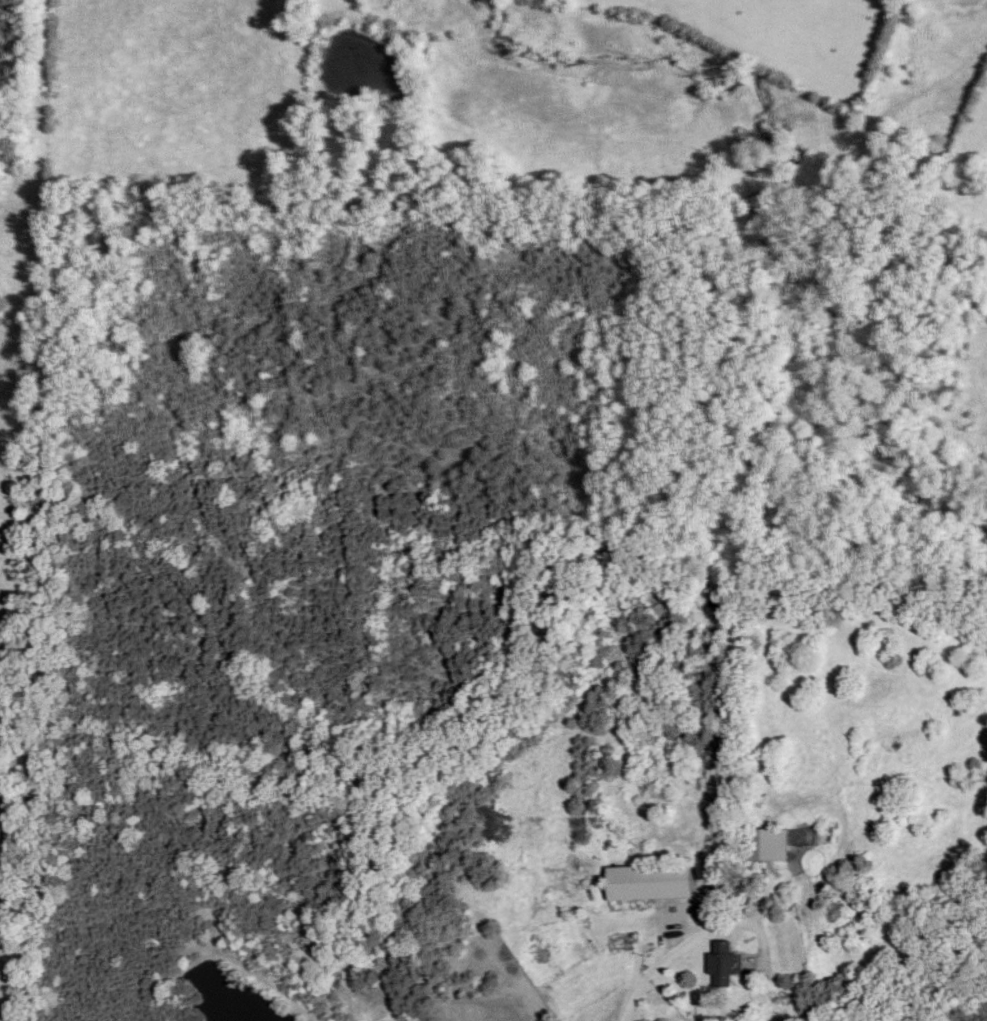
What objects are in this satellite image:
building: (765, 844)
building: (648, 882)
road: (676, 951)
building: (721, 964)

